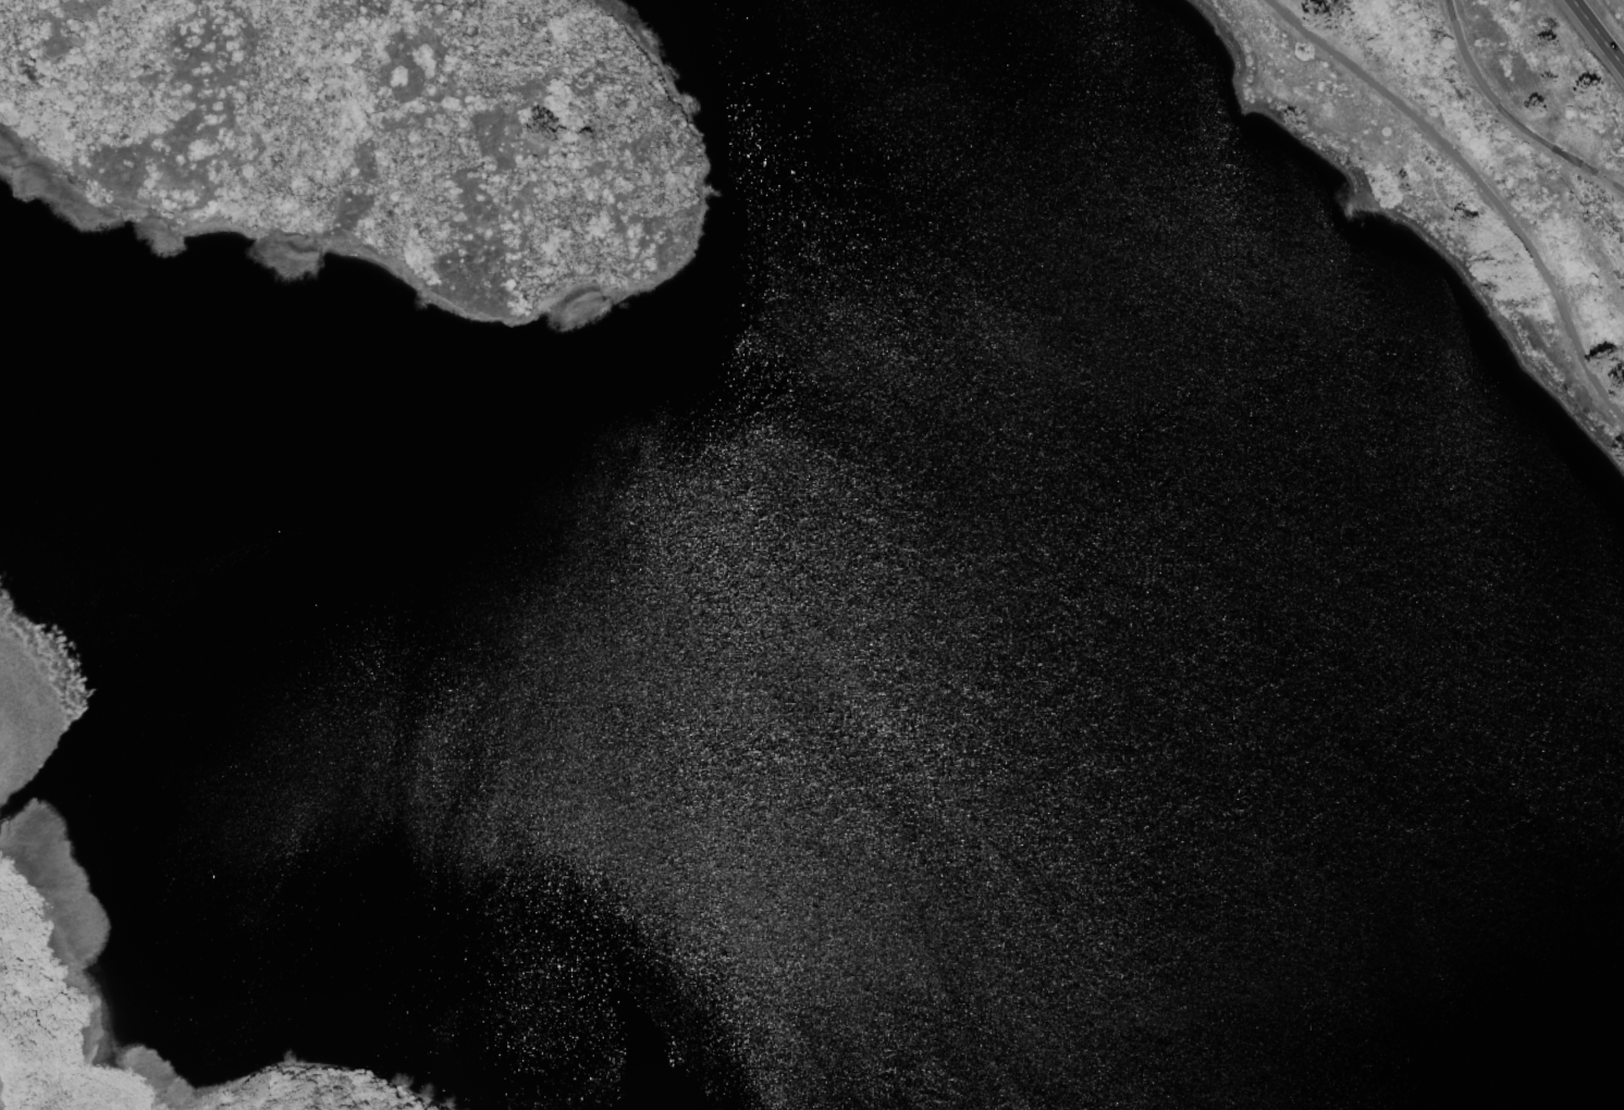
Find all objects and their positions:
road: (1597, 34)
road: (1513, 115)
road: (1479, 182)
road: (1, 1083)

